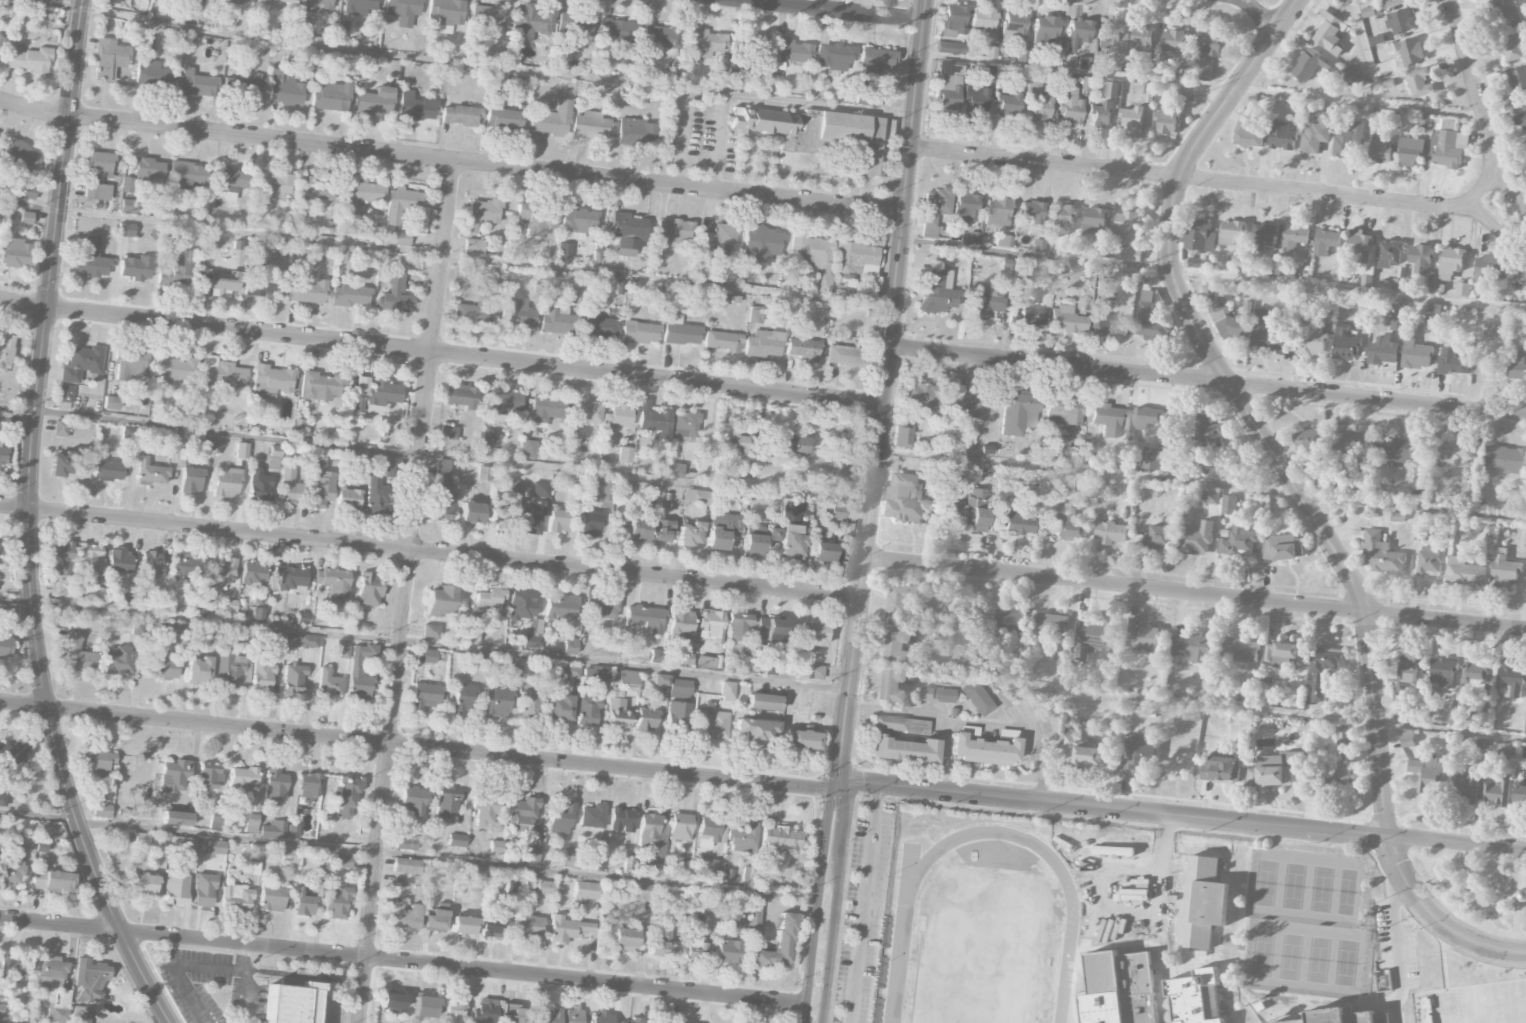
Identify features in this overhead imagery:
building: (112, 1)
building: (238, 1)
building: (282, 1)
building: (1394, 3)
building: (316, 5)
building: (360, 6)
building: (403, 11)
road: (828, 11)
road: (1260, 12)
building: (446, 13)
building: (1506, 13)
building: (489, 16)
building: (953, 18)
building: (983, 19)
building: (532, 20)
building: (1401, 22)
building: (1014, 25)
building: (1045, 28)
building: (617, 29)
building: (576, 31)
building: (1077, 33)
building: (1110, 33)
building: (1330, 33)
building: (661, 38)
building: (1, 41)
building: (1174, 41)
building: (1376, 41)
building: (1142, 43)
building: (703, 44)
building: (1210, 44)
building: (145, 45)
building: (949, 48)
building: (1515, 48)
building: (792, 51)
building: (1411, 52)
road: (1365, 53)
building: (835, 56)
building: (27, 58)
building: (109, 59)
building: (875, 60)
road: (465, 64)
building: (1311, 65)
building: (1151, 69)
building: (153, 74)
building: (1518, 77)
building: (1349, 78)
road: (1201, 82)
building: (195, 85)
building: (1419, 85)
building: (947, 86)
building: (242, 88)
building: (285, 89)
building: (1111, 90)
building: (1186, 94)
building: (330, 96)
building: (863, 97)
building: (977, 101)
building: (374, 102)
building: (1037, 102)
building: (1006, 104)
building: (1068, 104)
road: (1479, 106)
building: (415, 107)
building: (460, 115)
building: (1100, 115)
building: (502, 116)
building: (1132, 119)
building: (550, 122)
building: (1167, 122)
building: (1521, 122)
building: (590, 125)
building: (635, 132)
building: (1247, 135)
building: (1317, 135)
building: (815, 136)
building: (1281, 136)
road: (682, 138)
building: (1348, 140)
road: (718, 142)
building: (1446, 144)
building: (1380, 151)
building: (1411, 152)
building: (19, 155)
road: (449, 159)
building: (143, 173)
building: (98, 175)
building: (188, 176)
road: (1208, 181)
building: (228, 182)
building: (274, 184)
building: (318, 190)
building: (26, 191)
building: (361, 194)
building: (401, 204)
building: (128, 206)
building: (964, 208)
building: (933, 209)
building: (997, 211)
building: (1, 212)
building: (1031, 212)
building: (481, 213)
building: (1061, 217)
building: (26, 218)
building: (536, 220)
building: (1095, 220)
building: (578, 221)
building: (1127, 227)
building: (126, 230)
building: (673, 231)
building: (628, 233)
building: (1232, 233)
building: (395, 237)
building: (1199, 237)
building: (1263, 237)
building: (1328, 238)
building: (1295, 240)
building: (716, 241)
building: (759, 241)
building: (1004, 241)
building: (1039, 245)
building: (473, 246)
building: (1362, 250)
building: (564, 253)
building: (1389, 254)
building: (14, 255)
road: (444, 255)
building: (812, 257)
building: (92, 259)
building: (1421, 259)
building: (856, 262)
building: (1451, 263)
building: (135, 267)
building: (180, 269)
building: (1489, 269)
building: (1271, 270)
building: (1023, 271)
road: (1211, 275)
building: (220, 282)
building: (260, 284)
building: (306, 289)
building: (1463, 289)
building: (933, 291)
building: (395, 294)
building: (349, 295)
building: (983, 301)
building: (474, 313)
building: (755, 315)
building: (1433, 315)
building: (518, 316)
building: (1398, 316)
building: (1027, 317)
building: (1224, 318)
building: (1067, 319)
building: (1150, 320)
building: (558, 321)
building: (1107, 322)
building: (598, 325)
building: (680, 331)
building: (639, 332)
building: (1264, 334)
building: (1313, 340)
building: (722, 341)
building: (764, 344)
building: (1344, 344)
building: (802, 349)
building: (1383, 350)
road: (439, 352)
building: (5, 353)
building: (1415, 354)
building: (846, 355)
building: (81, 363)
building: (1451, 363)
building: (131, 364)
building: (1517, 365)
building: (176, 368)
building: (222, 373)
road: (1206, 379)
building: (271, 381)
building: (362, 385)
building: (319, 386)
building: (65, 394)
road: (880, 394)
building: (383, 395)
building: (461, 396)
building: (919, 399)
building: (504, 401)
building: (112, 403)
building: (359, 404)
building: (973, 404)
road: (1244, 407)
building: (546, 408)
building: (1018, 411)
building: (1063, 411)
building: (588, 413)
building: (5, 417)
building: (617, 417)
building: (653, 418)
building: (1143, 418)
building: (1107, 419)
building: (685, 424)
building: (61, 428)
building: (130, 432)
building: (448, 433)
building: (1207, 433)
building: (488, 437)
building: (902, 437)
building: (569, 440)
building: (737, 444)
building: (1349, 444)
building: (791, 446)
building: (528, 448)
building: (1394, 448)
building: (242, 450)
building: (1309, 450)
building: (1453, 452)
building: (3, 454)
building: (625, 455)
building: (304, 456)
building: (319, 458)
building: (1150, 458)
building: (274, 459)
road: (433, 459)
building: (1505, 460)
building: (62, 463)
building: (1207, 463)
building: (675, 469)
building: (109, 470)
road: (32, 471)
building: (151, 472)
building: (191, 480)
building: (226, 483)
building: (259, 485)
road: (1199, 485)
building: (289, 486)
building: (511, 487)
building: (1418, 487)
building: (540, 489)
building: (606, 489)
building: (321, 490)
building: (442, 491)
building: (1467, 492)
building: (696, 496)
building: (1210, 497)
building: (348, 500)
building: (903, 500)
building: (1229, 503)
building: (971, 509)
building: (471, 512)
building: (835, 513)
building: (498, 516)
building: (1397, 517)
building: (559, 520)
building: (529, 521)
building: (1015, 522)
building: (591, 523)
building: (774, 523)
building: (1065, 527)
building: (662, 530)
building: (723, 530)
building: (637, 531)
building: (791, 532)
building: (1110, 533)
building: (689, 534)
building: (773, 534)
building: (1158, 538)
building: (1196, 540)
building: (753, 541)
building: (1237, 541)
building: (1282, 548)
road: (429, 551)
building: (822, 552)
building: (60, 556)
building: (88, 557)
building: (119, 560)
building: (1429, 560)
building: (151, 565)
building: (186, 566)
building: (1503, 569)
building: (223, 572)
building: (1464, 573)
building: (290, 578)
building: (254, 579)
building: (333, 583)
building: (370, 589)
road: (406, 591)
road: (1194, 593)
building: (96, 595)
building: (441, 600)
building: (487, 601)
building: (902, 602)
building: (522, 604)
building: (560, 606)
building: (600, 608)
building: (3, 610)
building: (258, 613)
building: (645, 618)
building: (1013, 621)
building: (680, 622)
building: (1052, 624)
building: (711, 625)
building: (739, 628)
building: (174, 629)
building: (771, 630)
building: (431, 632)
building: (208, 633)
building: (534, 633)
building: (812, 633)
building: (469, 636)
building: (1089, 637)
building: (1142, 637)
building: (272, 639)
building: (308, 641)
building: (5, 644)
road: (423, 644)
building: (569, 646)
building: (899, 647)
building: (1194, 648)
building: (342, 649)
building: (1241, 651)
building: (77, 654)
building: (656, 655)
building: (1286, 655)
building: (425, 656)
building: (684, 658)
building: (119, 659)
building: (477, 661)
building: (708, 662)
building: (745, 664)
building: (167, 668)
building: (515, 668)
building: (229, 669)
building: (199, 670)
building: (1321, 670)
building: (1410, 670)
building: (571, 671)
building: (814, 671)
building: (360, 672)
building: (1442, 673)
building: (261, 674)
building: (595, 674)
building: (624, 677)
building: (1476, 677)
building: (293, 678)
building: (659, 680)
building: (1511, 682)
building: (328, 683)
road: (1003, 683)
building: (895, 686)
building: (679, 689)
building: (727, 691)
building: (927, 694)
building: (426, 695)
building: (945, 695)
building: (463, 697)
building: (976, 698)
building: (496, 702)
building: (763, 702)
building: (529, 705)
building: (560, 709)
building: (587, 711)
road: (1268, 711)
building: (1450, 712)
building: (617, 714)
building: (678, 715)
road: (932, 716)
building: (646, 719)
road: (990, 723)
building: (711, 724)
building: (900, 724)
building: (755, 730)
building: (968, 730)
building: (1343, 736)
building: (802, 739)
building: (1406, 739)
road: (417, 746)
building: (903, 750)
building: (983, 750)
building: (1505, 751)
building: (13, 753)
building: (1137, 755)
building: (1090, 757)
building: (97, 762)
building: (1220, 771)
building: (1273, 771)
building: (1340, 774)
building: (1427, 774)
building: (173, 776)
building: (208, 777)
building: (242, 780)
building: (275, 784)
building: (309, 785)
traffic signals: (836, 788)
building: (1465, 790)
building: (1496, 791)
building: (1519, 792)
building: (347, 796)
building: (3, 798)
building: (413, 800)
building: (446, 802)
building: (484, 809)
building: (102, 810)
building: (216, 814)
building: (523, 814)
building: (593, 816)
road: (1180, 816)
building: (560, 817)
building: (176, 818)
building: (621, 818)
building: (251, 823)
building: (679, 827)
building: (273, 829)
building: (711, 831)
building: (652, 835)
building: (743, 838)
building: (782, 838)
building: (142, 839)
building: (456, 840)
building: (25, 843)
building: (183, 847)
building: (495, 850)
building: (532, 854)
road: (408, 855)
building: (290, 856)
building: (569, 857)
building: (254, 859)
building: (343, 861)
building: (406, 866)
building: (652, 866)
building: (685, 868)
building: (710, 868)
road: (1473, 870)
building: (476, 872)
building: (10, 873)
road: (1157, 878)
building: (52, 881)
park: (1263, 882)
building: (143, 884)
building: (512, 885)
park: (1291, 885)
building: (544, 888)
park: (1319, 888)
park: (1468, 889)
building: (175, 890)
building: (204, 890)
building: (585, 890)
park: (1344, 890)
building: (641, 892)
building: (1521, 894)
building: (272, 897)
road: (1508, 897)
building: (236, 898)
building: (701, 901)
building: (304, 902)
building: (1202, 902)
building: (337, 903)
road: (863, 903)
road: (816, 904)
road: (831, 904)
road: (1446, 904)
building: (403, 915)
building: (753, 916)
building: (435, 920)
building: (738, 920)
road: (1436, 920)
building: (463, 924)
building: (494, 925)
building: (529, 927)
building: (566, 929)
building: (624, 940)
building: (661, 944)
building: (776, 945)
building: (693, 949)
road: (1394, 949)
park: (982, 950)
building: (725, 952)
park: (1260, 954)
road: (244, 956)
park: (1288, 956)
park: (1316, 959)
road: (402, 961)
park: (1343, 962)
road: (202, 966)
building: (12, 968)
track: (895, 973)
building: (49, 974)
road: (145, 978)
building: (90, 979)
building: (1117, 988)
building: (1193, 996)
building: (391, 1001)
building: (291, 1003)
park: (1471, 1003)
building: (425, 1006)
building: (1, 1009)
building: (484, 1011)
building: (58, 1012)
building: (453, 1012)
road: (1075, 1012)
road: (1392, 1012)
building: (82, 1014)
building: (515, 1014)
building: (570, 1015)
building: (547, 1016)
building: (1335, 1016)
building: (600, 1018)
building: (633, 1020)
road: (8, 1022)
building: (655, 1022)
building: (683, 1022)

